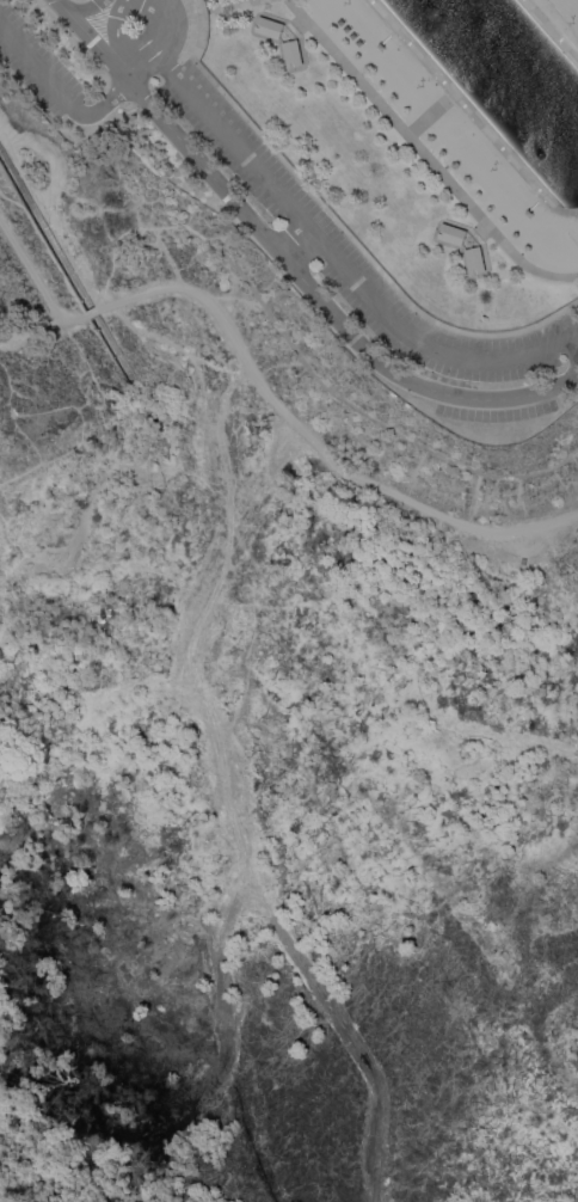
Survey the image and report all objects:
road: (125, 0)
road: (187, 0)
road: (60, 5)
road: (160, 7)
road: (81, 8)
road: (21, 16)
road: (190, 25)
building: (268, 27)
road: (94, 44)
road: (137, 51)
building: (290, 53)
parking lot: (35, 62)
road: (130, 65)
road: (59, 93)
road: (423, 154)
park: (358, 167)
building: (450, 234)
road: (357, 246)
parking lot: (352, 252)
building: (473, 260)
road: (337, 264)
road: (29, 269)
road: (320, 303)
road: (275, 407)
parking lot: (496, 410)

